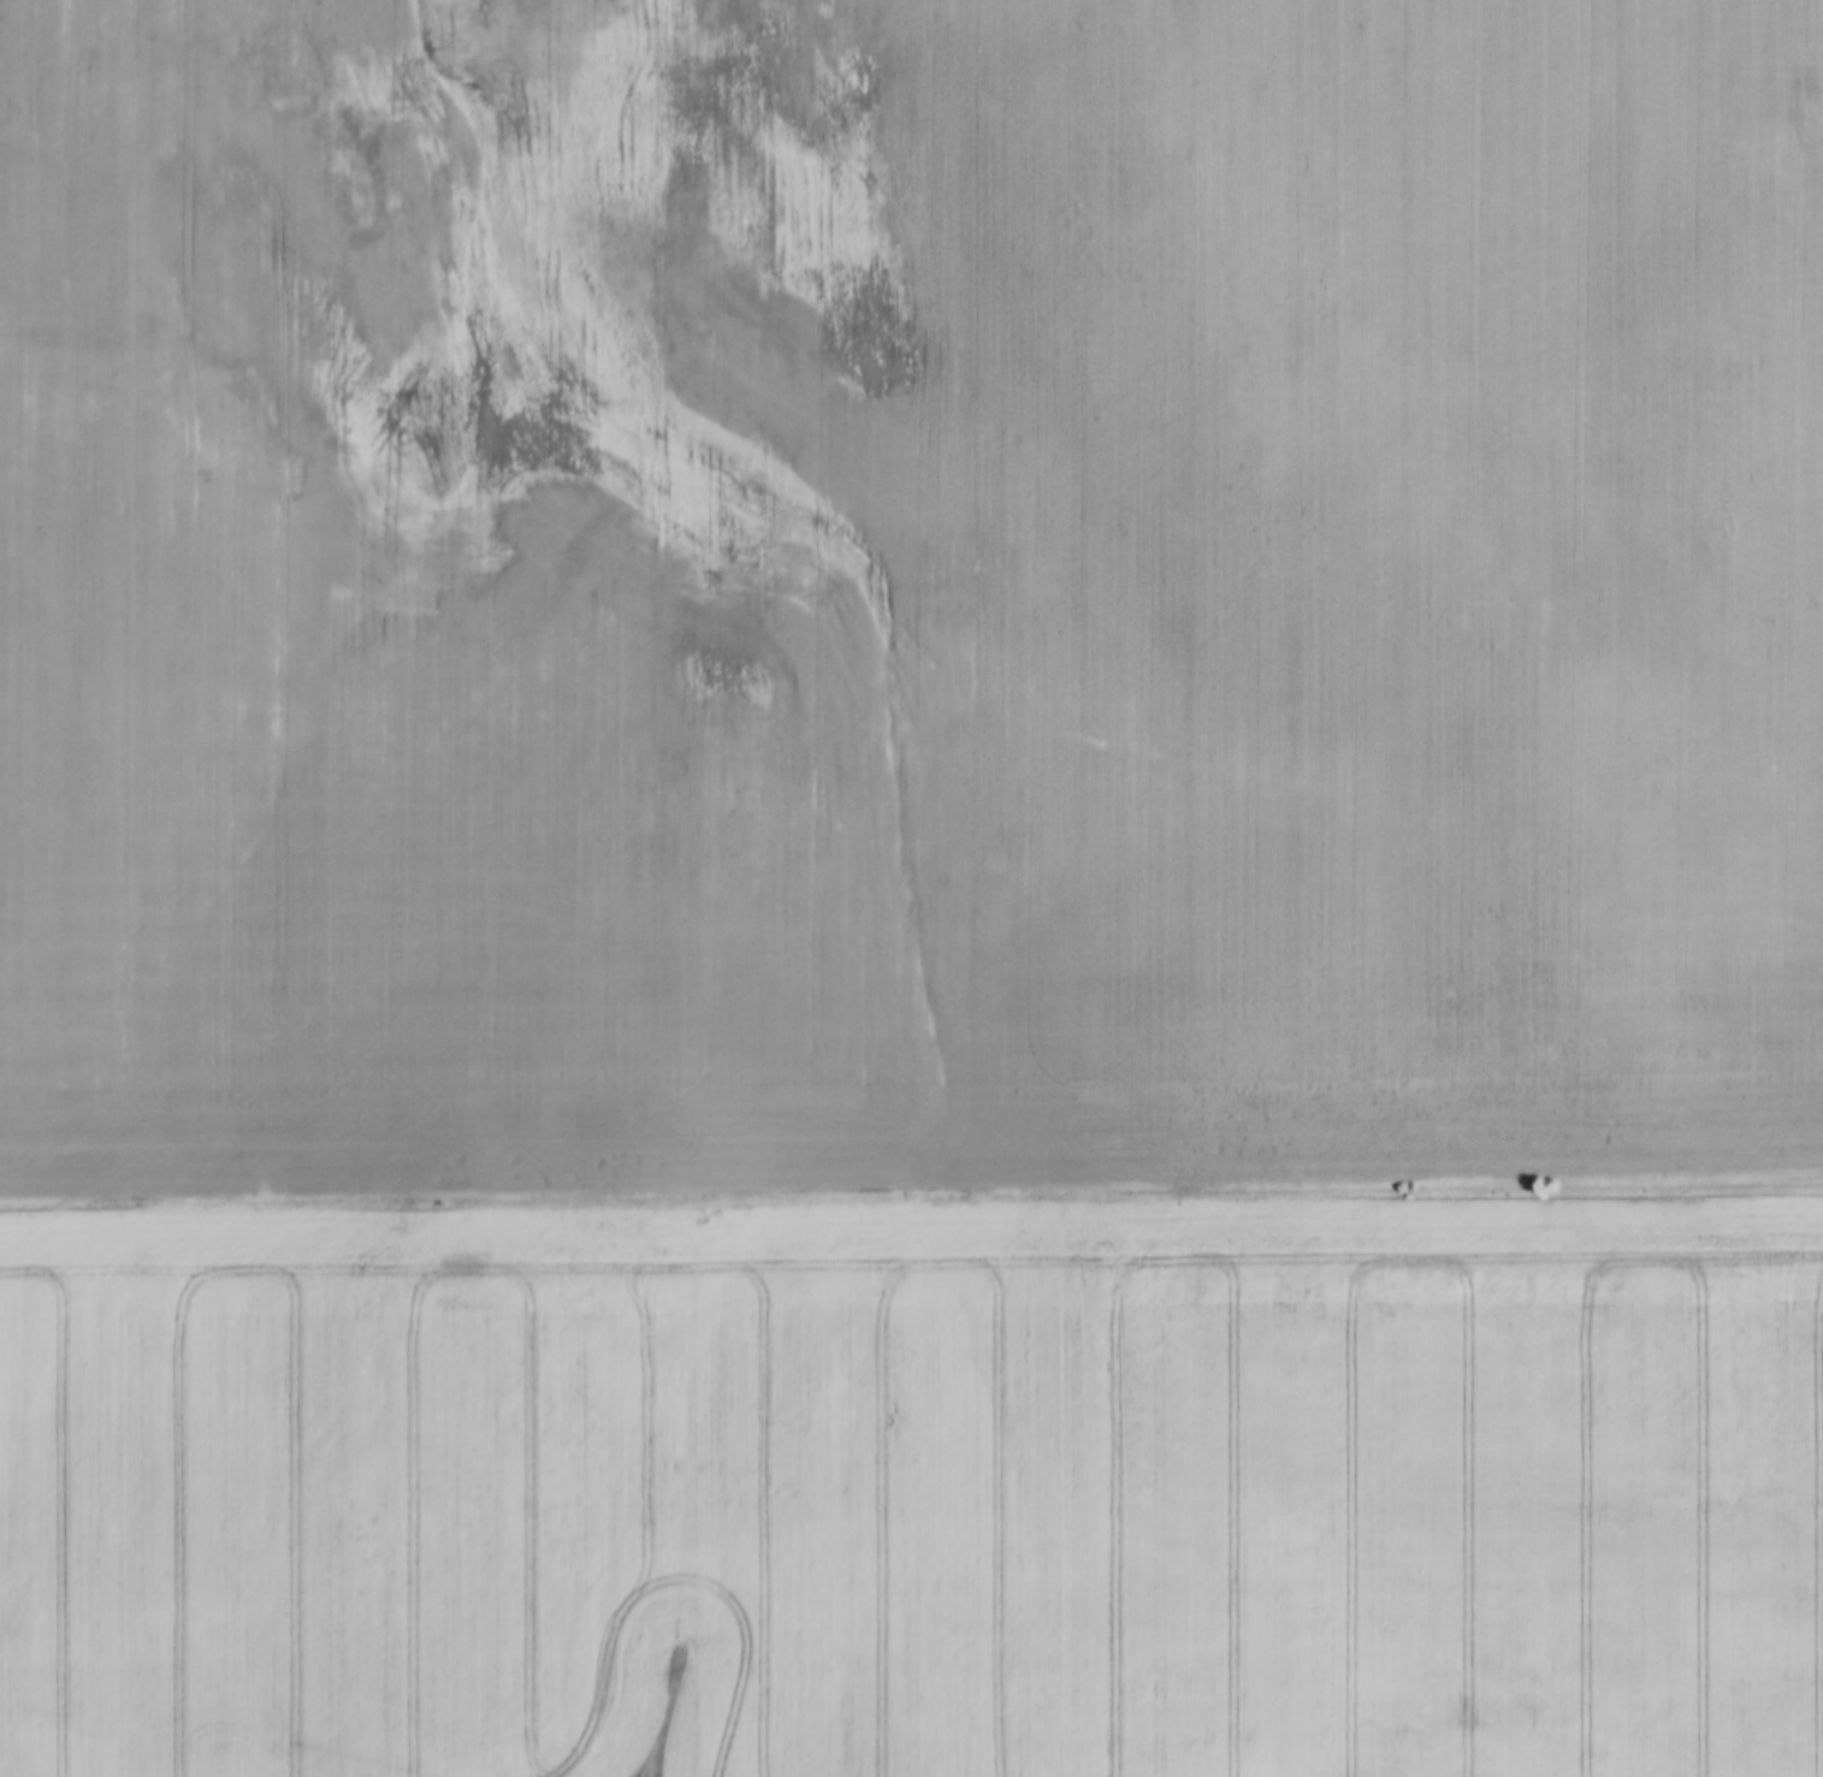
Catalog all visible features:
road: (911, 1193)

